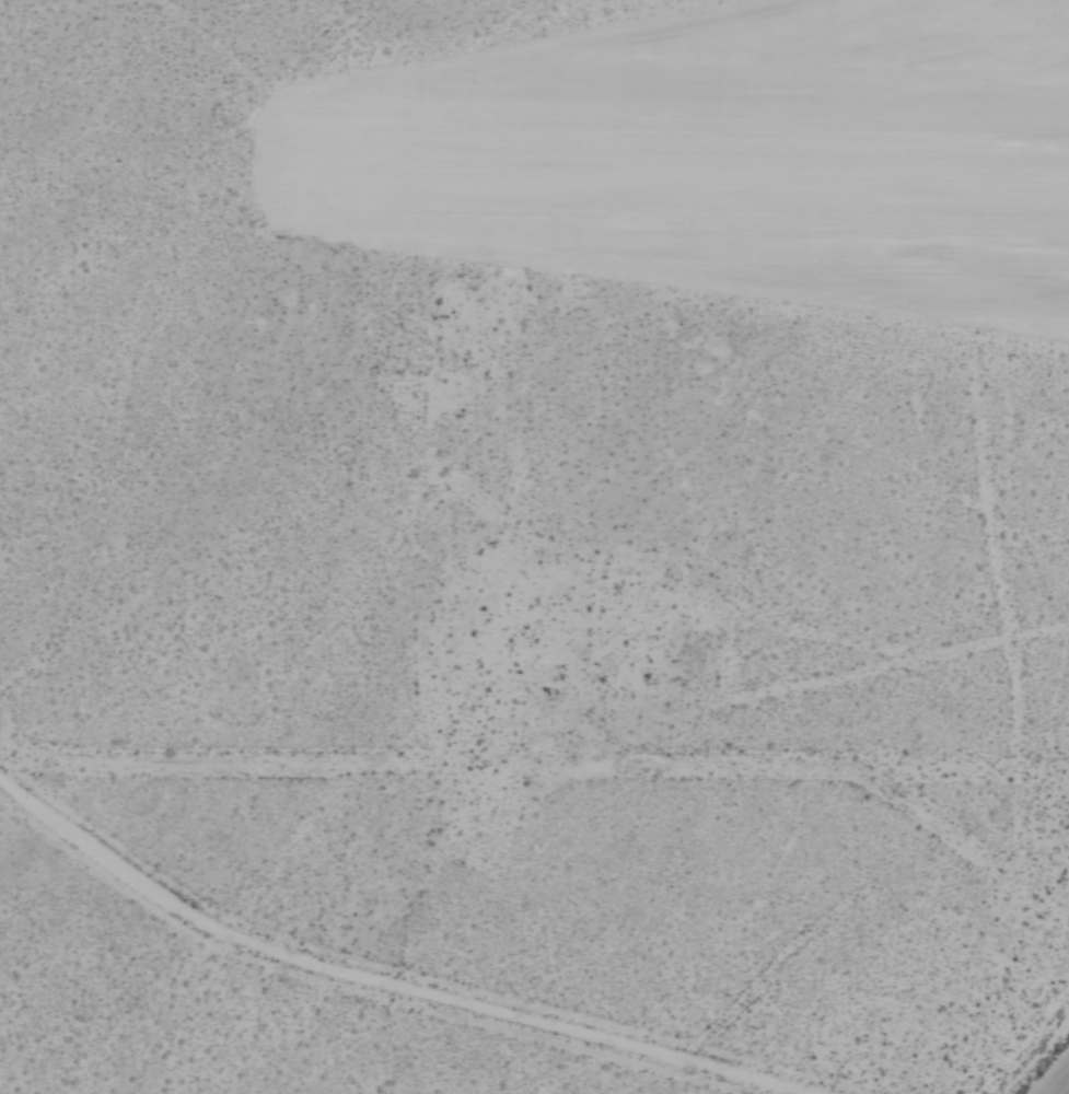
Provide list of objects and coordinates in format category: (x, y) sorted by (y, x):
airport: (534, 547)

